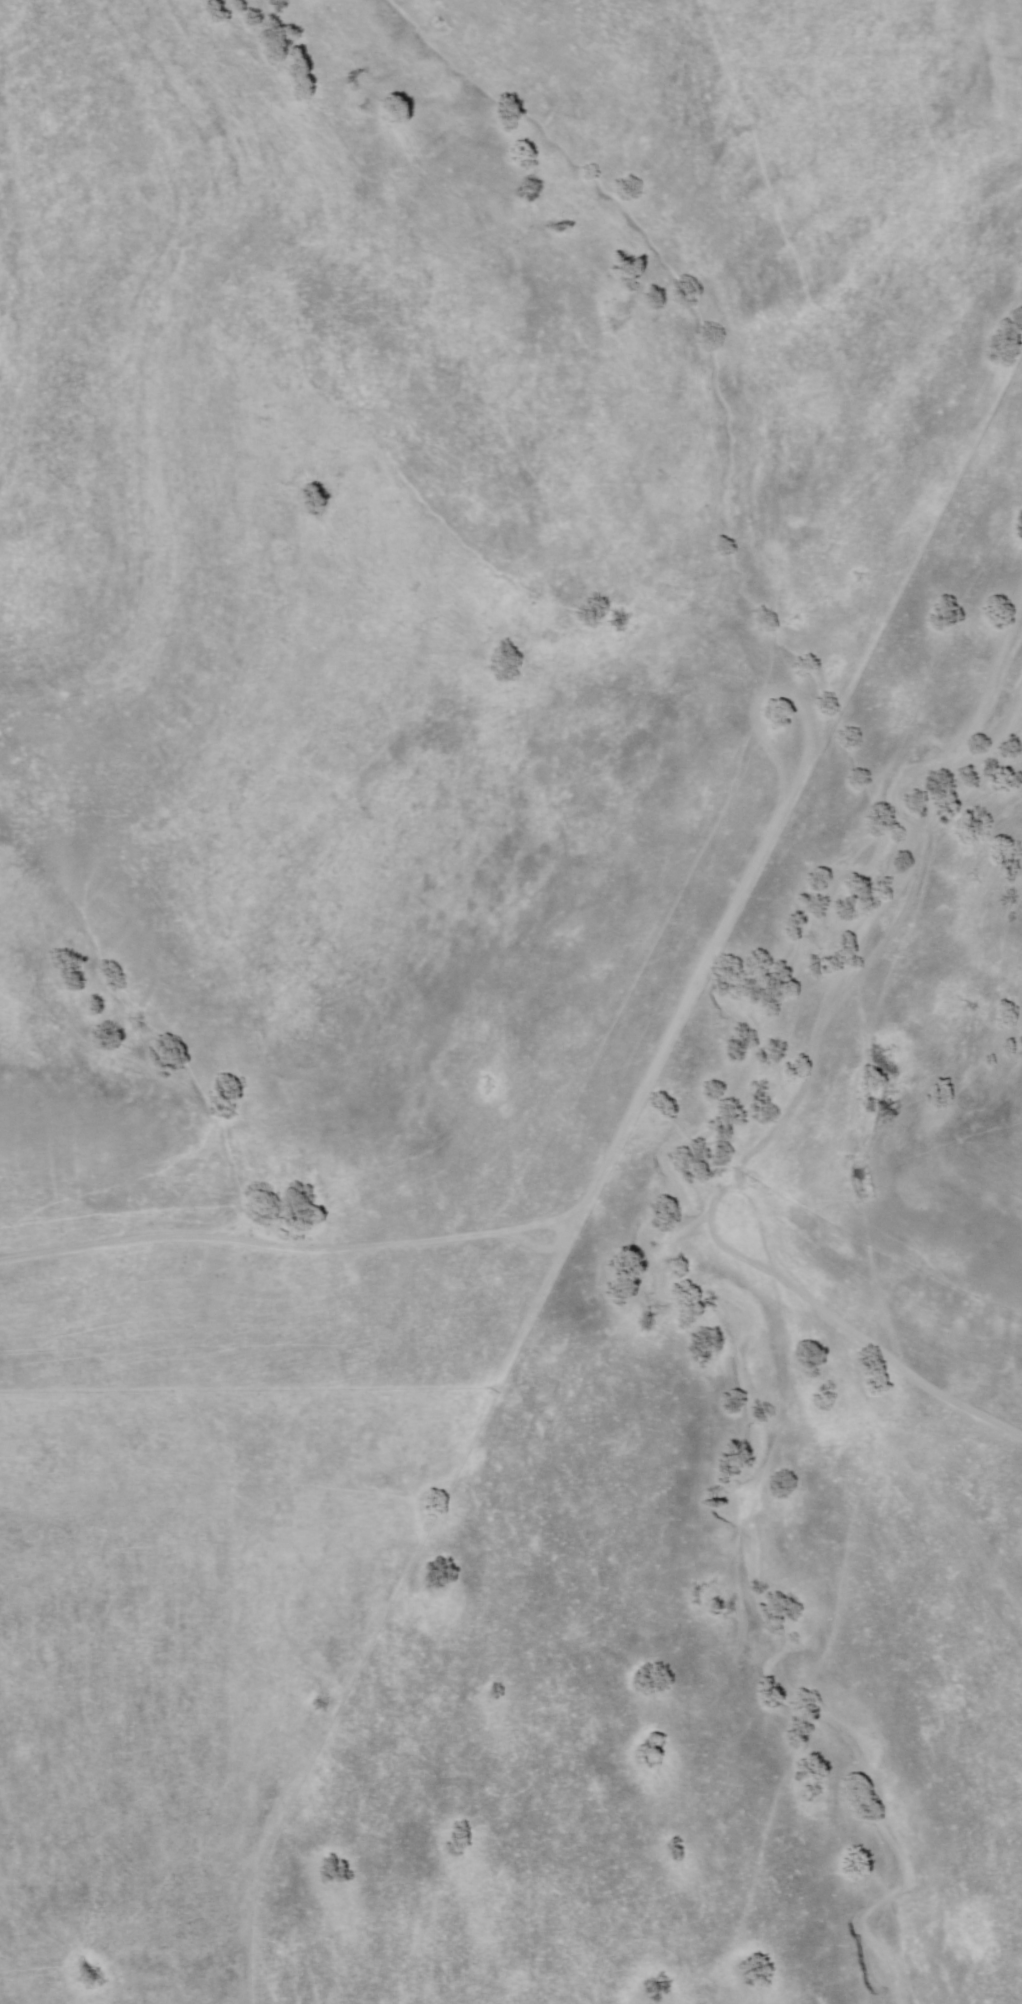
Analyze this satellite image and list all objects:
road: (855, 972)
road: (918, 1205)

